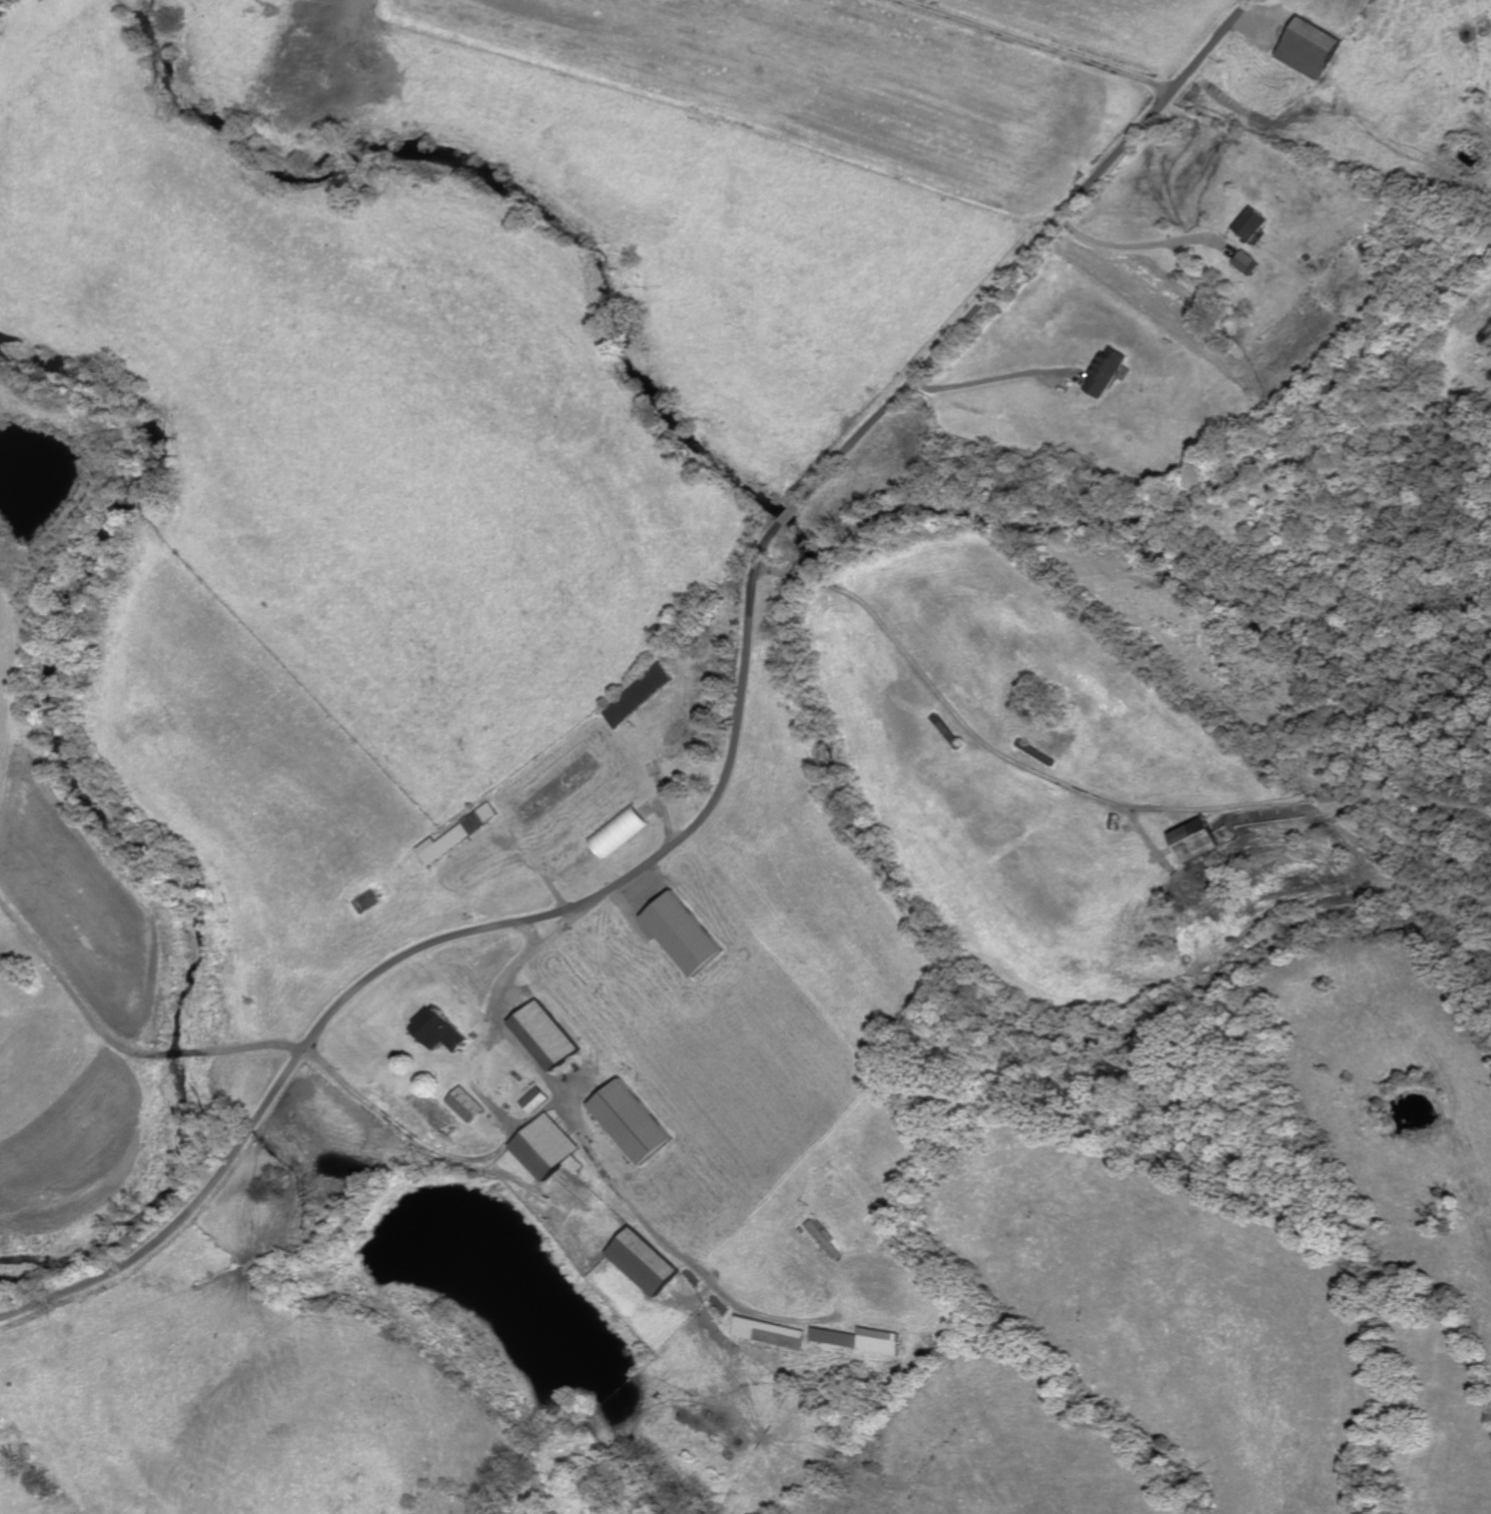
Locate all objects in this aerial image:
road: (1032, 44)
building: (1313, 50)
building: (1251, 223)
road: (1134, 246)
building: (1246, 263)
building: (1105, 371)
road: (1003, 753)
road: (736, 769)
building: (561, 787)
building: (623, 830)
building: (1203, 841)
building: (688, 934)
road: (552, 937)
building: (442, 1031)
building: (549, 1036)
road: (238, 1048)
building: (536, 1100)
building: (470, 1105)
building: (632, 1122)
building: (550, 1149)
road: (596, 1158)
building: (647, 1263)
building: (770, 1333)
building: (862, 1340)

